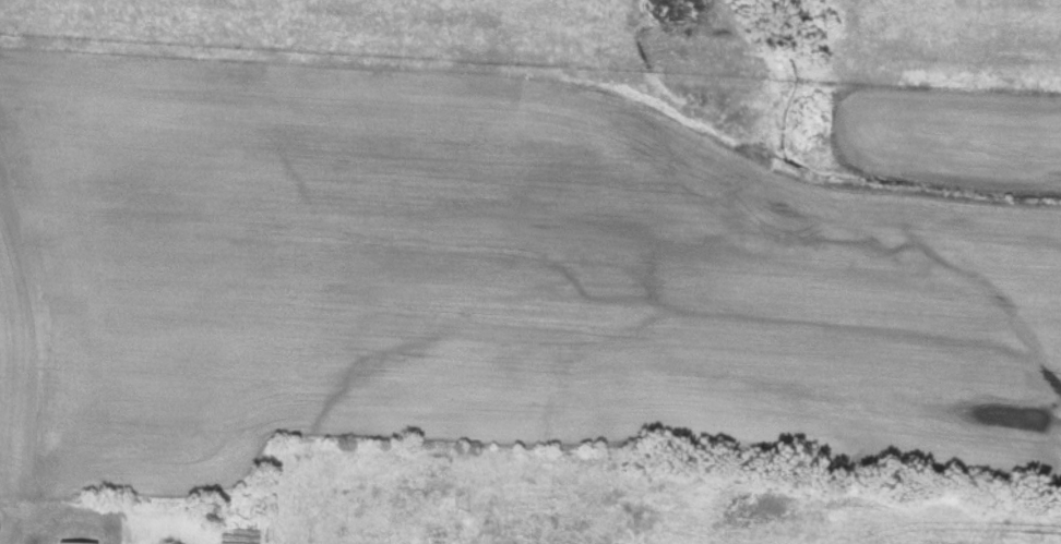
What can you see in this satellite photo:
crop: (950, 133)
crop: (481, 289)
building: (440, 535)
building: (72, 543)

